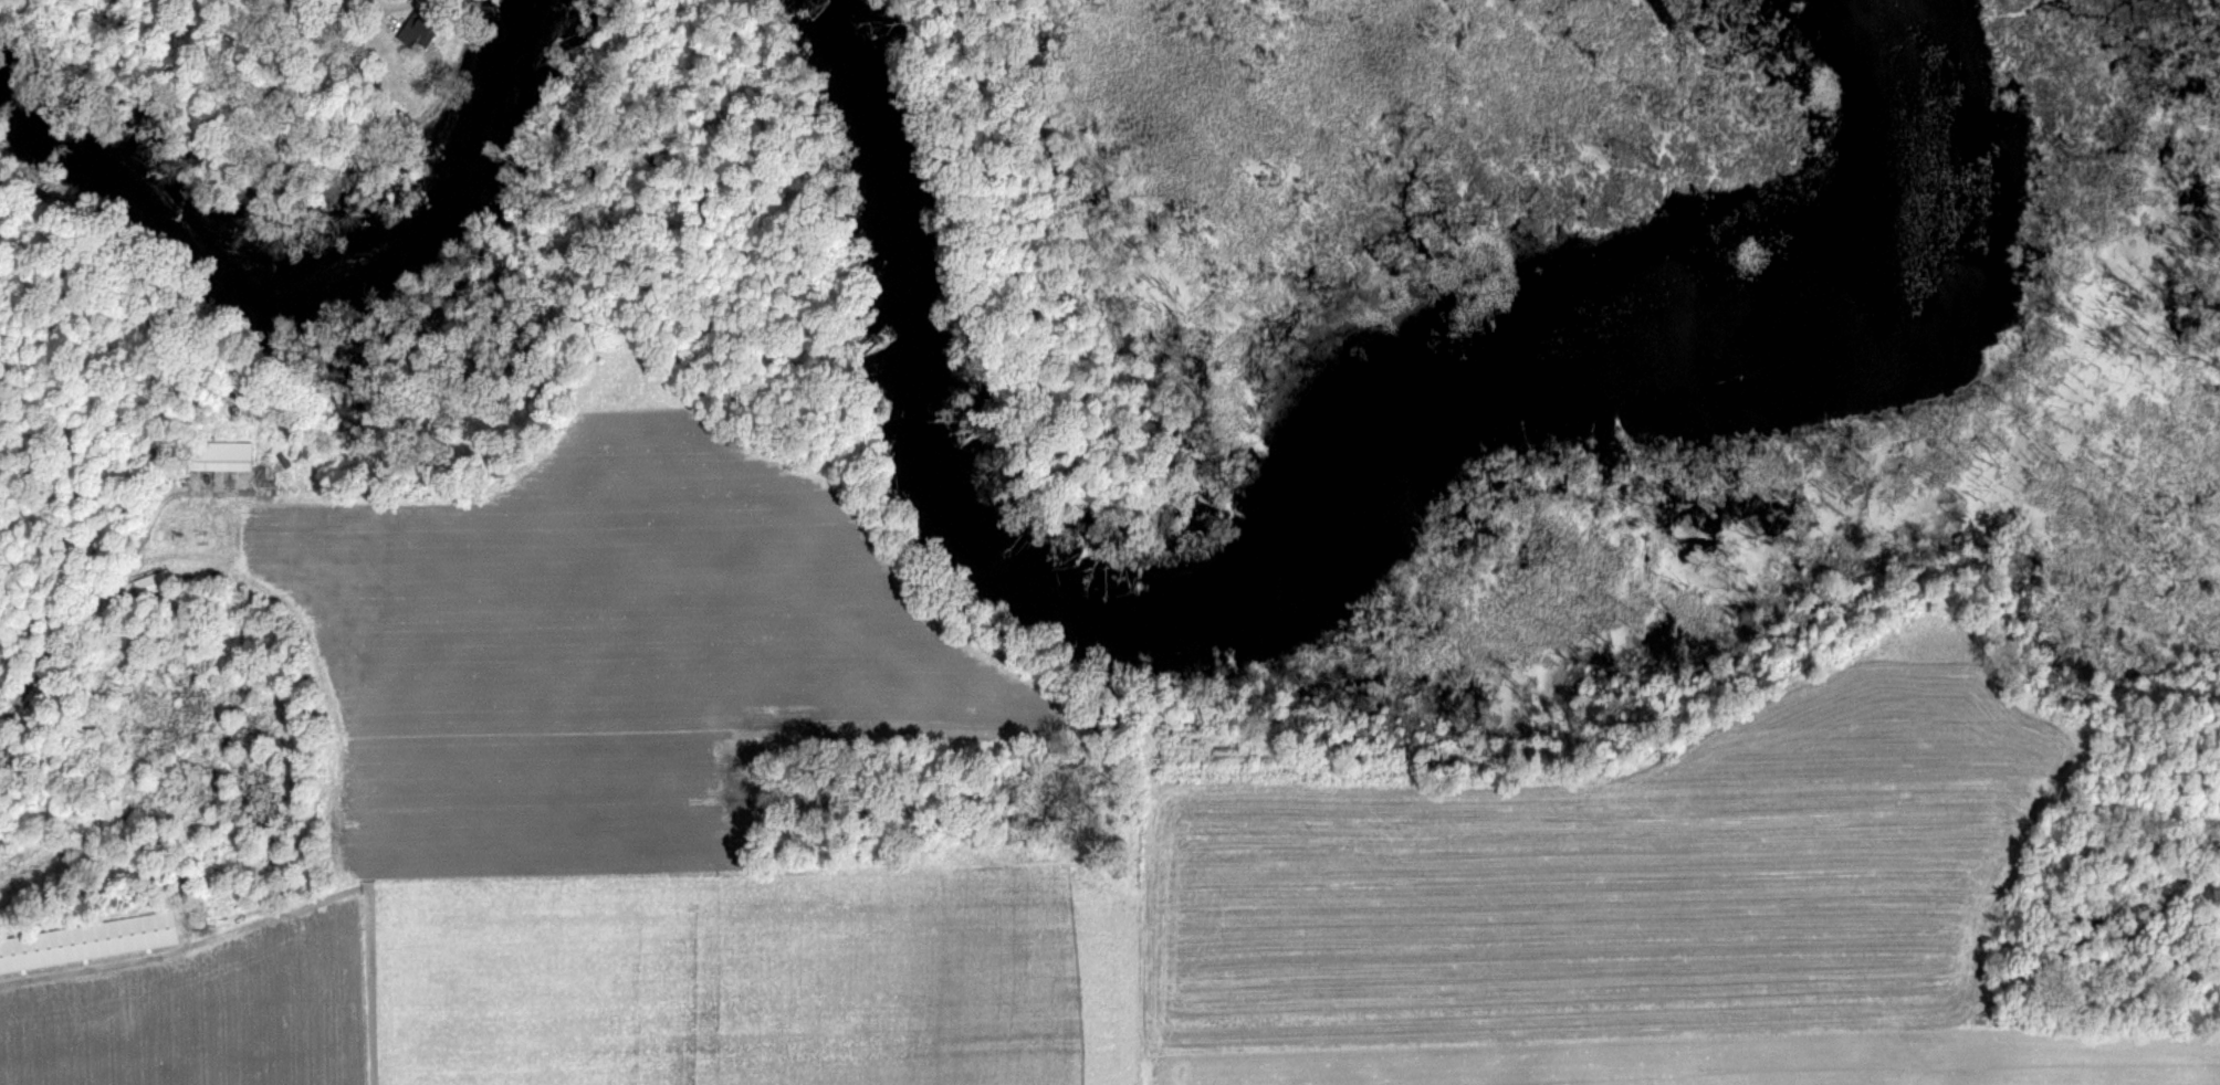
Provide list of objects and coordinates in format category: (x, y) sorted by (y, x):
road: (388, 18)
building: (420, 29)
river: (320, 287)
river: (1303, 534)

